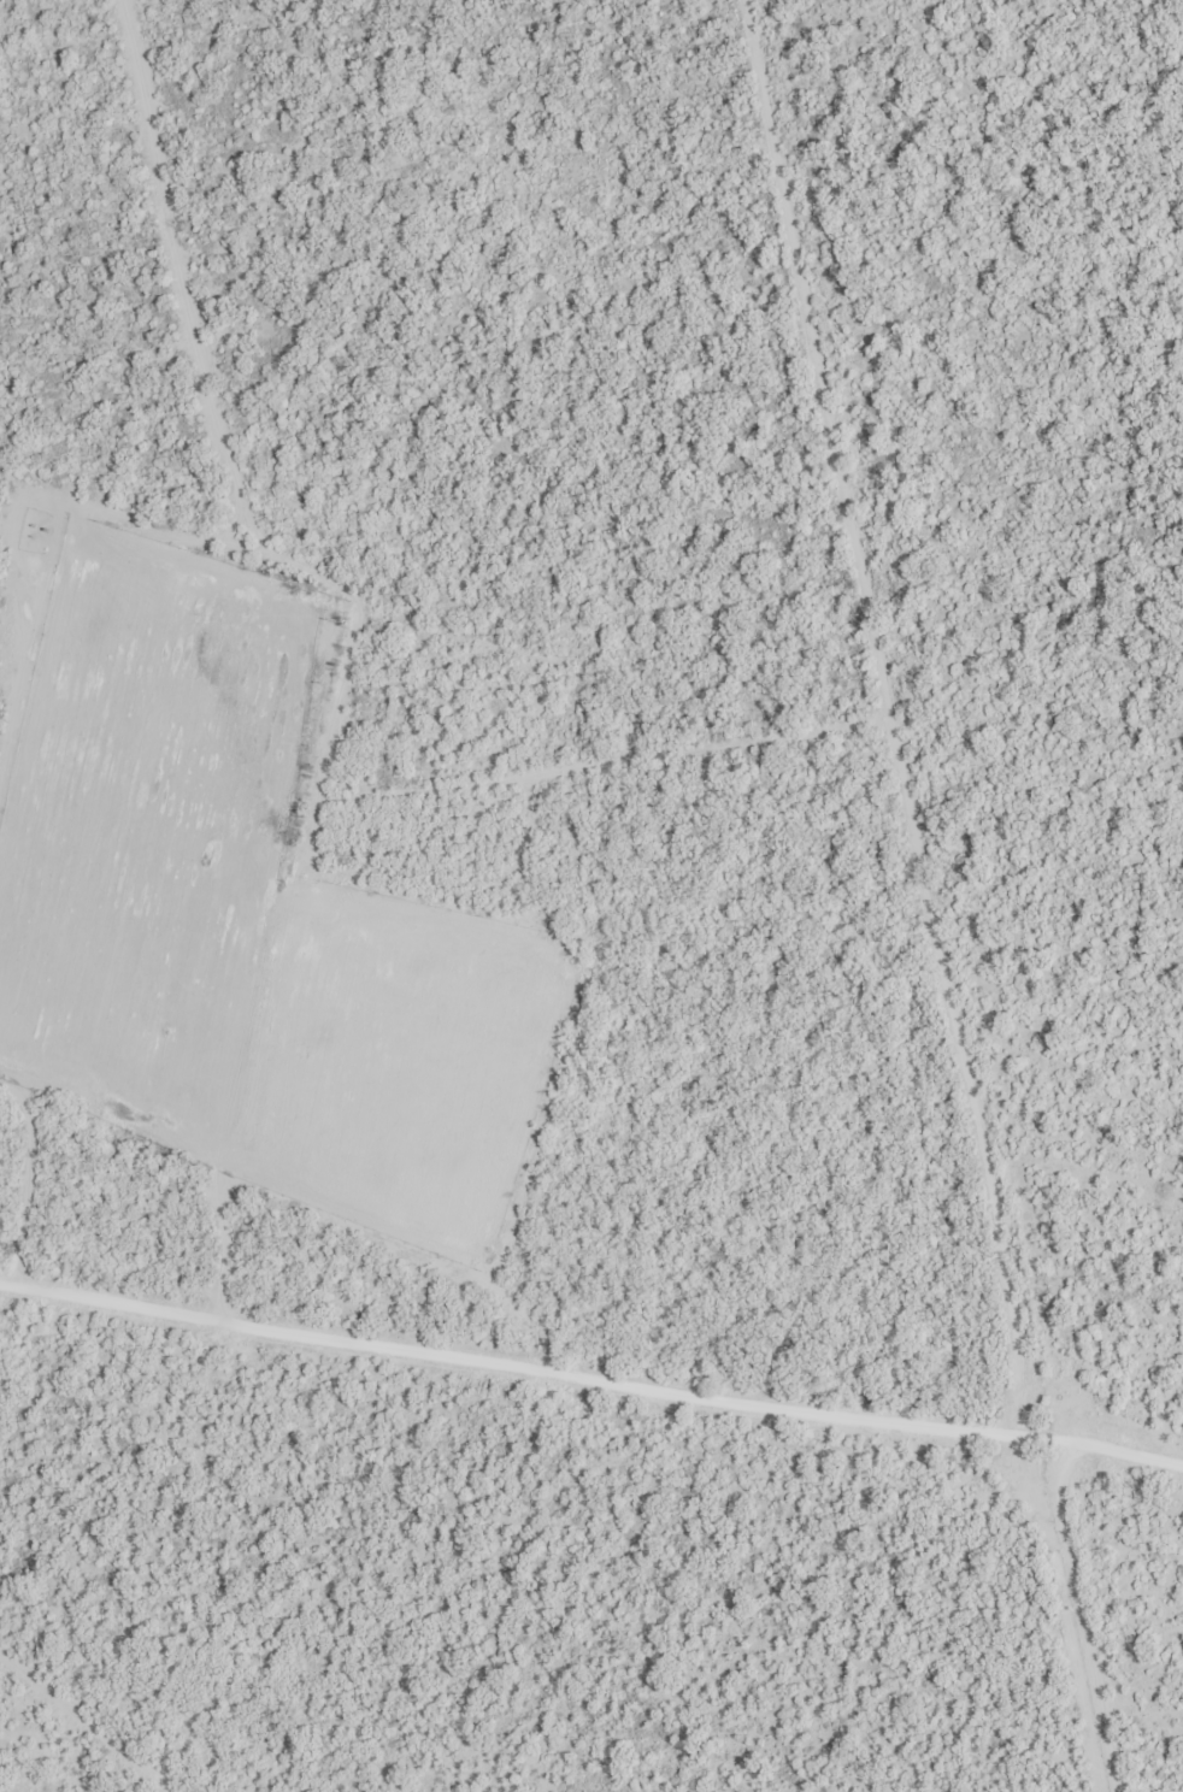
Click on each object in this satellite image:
road: (590, 1375)
road: (1093, 1619)

